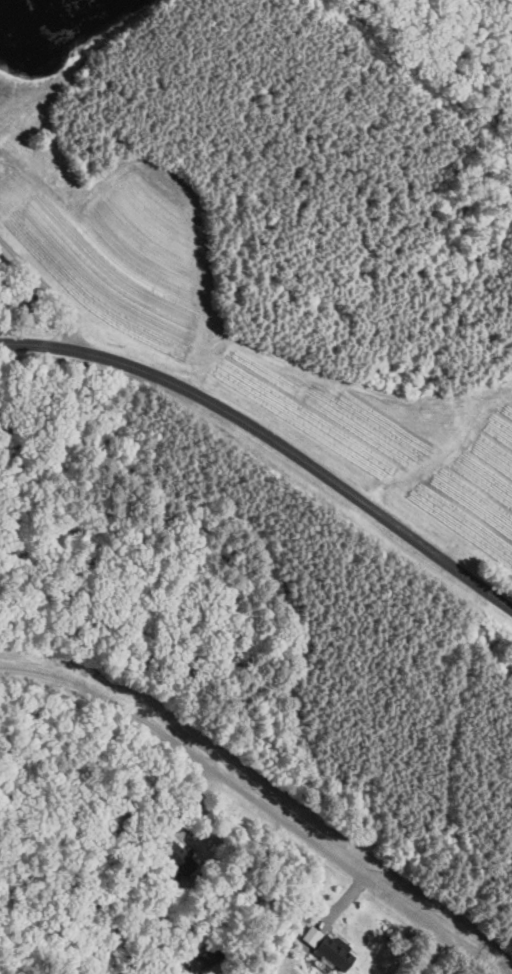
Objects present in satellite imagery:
road: (46, 288)
road: (272, 439)
road: (198, 762)
building: (175, 857)
road: (439, 932)
building: (335, 954)
road: (429, 954)

